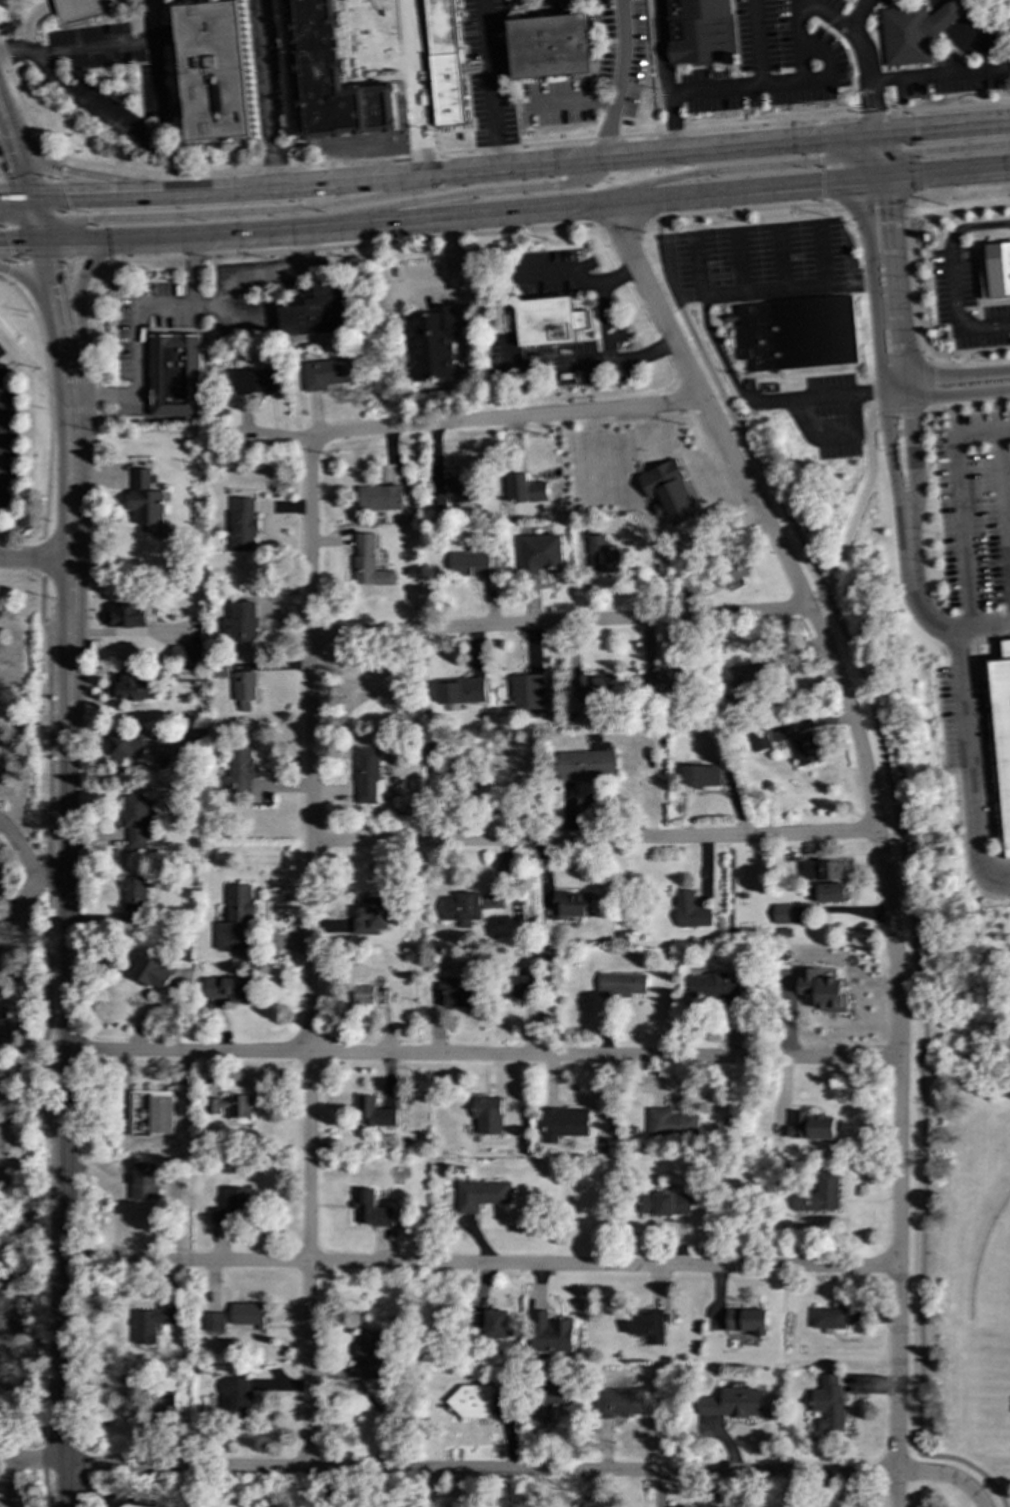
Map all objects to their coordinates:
building: (80, 10)
road: (858, 15)
road: (34, 16)
road: (985, 23)
road: (148, 25)
building: (698, 31)
road: (849, 31)
building: (913, 32)
road: (800, 40)
road: (756, 42)
building: (550, 46)
road: (21, 51)
road: (821, 53)
building: (443, 62)
building: (214, 71)
parking lot: (488, 72)
road: (939, 75)
road: (664, 76)
building: (334, 79)
road: (622, 81)
road: (491, 84)
road: (749, 86)
road: (415, 88)
road: (264, 95)
road: (869, 97)
road: (571, 104)
traffic signals: (871, 109)
road: (161, 114)
road: (1, 122)
road: (875, 124)
road: (866, 125)
road: (908, 128)
road: (944, 128)
traffic signals: (915, 131)
road: (871, 135)
road: (822, 143)
road: (862, 144)
road: (872, 145)
road: (881, 148)
road: (945, 149)
road: (467, 150)
traffic signals: (921, 152)
road: (15, 162)
traffic signals: (819, 162)
road: (862, 165)
road: (870, 167)
traffic signals: (17, 168)
road: (57, 168)
road: (884, 168)
road: (913, 168)
road: (738, 169)
road: (946, 170)
road: (444, 175)
road: (655, 176)
road: (873, 177)
road: (25, 178)
road: (130, 182)
traffic signals: (820, 182)
road: (825, 186)
road: (863, 189)
road: (960, 190)
road: (461, 194)
road: (917, 194)
road: (57, 196)
traffic signals: (66, 198)
road: (13, 199)
traffic signals: (27, 199)
road: (875, 199)
traffic signals: (887, 207)
road: (526, 208)
road: (741, 211)
road: (16, 212)
road: (232, 212)
road: (34, 220)
traffic signals: (87, 220)
road: (621, 221)
road: (975, 226)
road: (9, 230)
road: (68, 236)
road: (115, 240)
traffic signals: (6, 242)
road: (20, 242)
road: (343, 246)
parking lot: (757, 253)
road: (822, 253)
road: (961, 255)
road: (780, 257)
road: (738, 261)
road: (45, 262)
road: (697, 265)
road: (84, 267)
building: (995, 270)
traffic signals: (50, 271)
road: (190, 271)
road: (11, 272)
road: (259, 275)
road: (576, 276)
road: (52, 279)
road: (975, 279)
road: (3, 281)
road: (453, 282)
road: (36, 286)
road: (786, 289)
road: (909, 295)
road: (993, 302)
road: (953, 310)
building: (319, 312)
building: (547, 320)
road: (604, 321)
building: (796, 333)
road: (901, 342)
building: (430, 343)
road: (135, 346)
road: (879, 355)
road: (576, 364)
road: (86, 365)
road: (69, 366)
road: (727, 369)
building: (326, 374)
building: (175, 376)
road: (939, 377)
building: (255, 381)
road: (925, 383)
road: (830, 395)
road: (940, 395)
road: (81, 397)
road: (968, 404)
road: (49, 405)
road: (901, 410)
parking lot: (834, 414)
road: (470, 420)
road: (831, 436)
road: (71, 463)
building: (527, 489)
building: (669, 491)
building: (454, 493)
building: (380, 498)
building: (145, 500)
road: (861, 502)
building: (243, 524)
building: (540, 552)
road: (41, 556)
building: (602, 556)
road: (34, 561)
building: (368, 563)
building: (470, 564)
road: (910, 580)
building: (126, 616)
building: (241, 623)
road: (559, 623)
road: (981, 629)
road: (129, 632)
road: (993, 637)
building: (187, 654)
building: (220, 671)
building: (190, 674)
building: (748, 675)
building: (663, 681)
building: (131, 688)
building: (596, 688)
building: (245, 689)
building: (461, 691)
building: (527, 693)
building: (1002, 735)
building: (759, 741)
building: (124, 746)
building: (586, 765)
road: (966, 769)
building: (240, 770)
building: (701, 776)
building: (368, 777)
road: (873, 810)
building: (135, 821)
road: (595, 839)
road: (28, 860)
road: (903, 866)
building: (824, 871)
building: (134, 893)
building: (830, 893)
road: (19, 904)
building: (573, 904)
building: (462, 909)
building: (691, 911)
building: (782, 914)
building: (372, 916)
building: (237, 920)
building: (784, 932)
road: (311, 952)
building: (153, 974)
building: (519, 985)
building: (621, 985)
building: (713, 987)
road: (68, 989)
building: (230, 989)
building: (822, 989)
building: (370, 996)
building: (452, 996)
road: (44, 1039)
road: (484, 1055)
building: (230, 1106)
building: (366, 1111)
building: (150, 1113)
building: (487, 1115)
building: (563, 1123)
building: (670, 1124)
building: (811, 1127)
building: (145, 1181)
building: (819, 1193)
building: (480, 1195)
building: (239, 1201)
building: (664, 1204)
building: (370, 1209)
building: (218, 1216)
building: (798, 1221)
park: (958, 1236)
road: (482, 1265)
park: (992, 1277)
building: (247, 1315)
building: (828, 1318)
building: (747, 1320)
building: (153, 1322)
building: (213, 1322)
building: (492, 1323)
building: (647, 1326)
building: (550, 1333)
building: (369, 1354)
building: (555, 1394)
building: (237, 1398)
building: (472, 1401)
building: (619, 1403)
building: (734, 1403)
building: (829, 1403)
building: (167, 1404)
road: (32, 1457)
road: (481, 1469)
road: (947, 1475)
road: (13, 1482)
road: (66, 1486)
road: (328, 1487)
road: (897, 1490)

